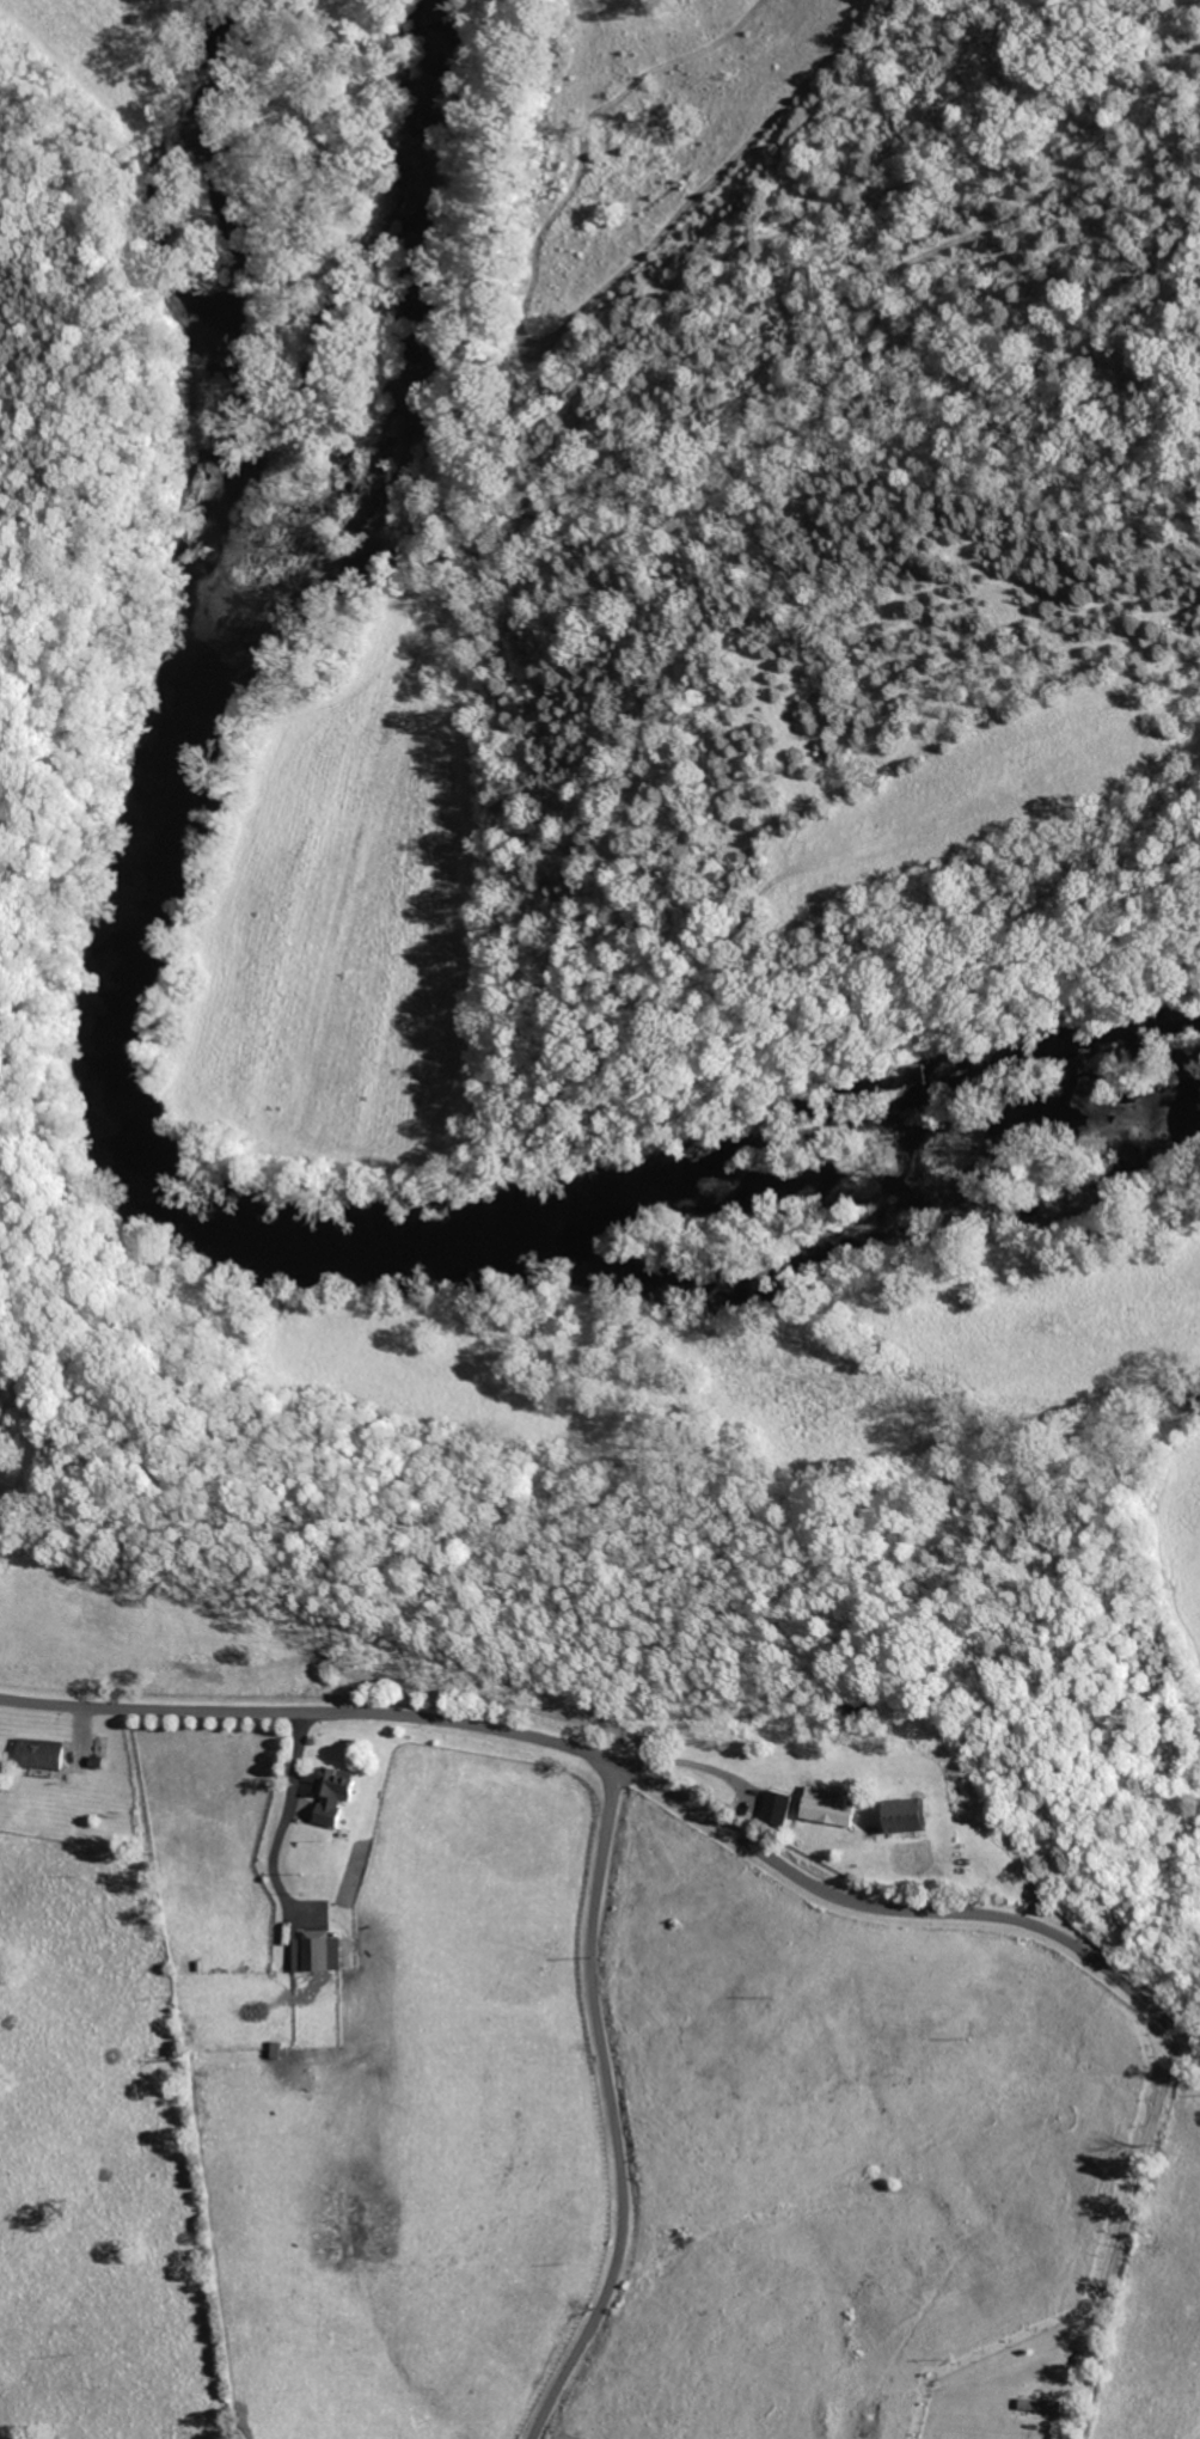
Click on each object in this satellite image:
river: (112, 1098)
road: (711, 1743)
building: (36, 1754)
road: (635, 1773)
building: (330, 1791)
building: (773, 1808)
building: (821, 1808)
building: (899, 1815)
building: (317, 1954)
road: (610, 2109)
road: (1128, 2195)

